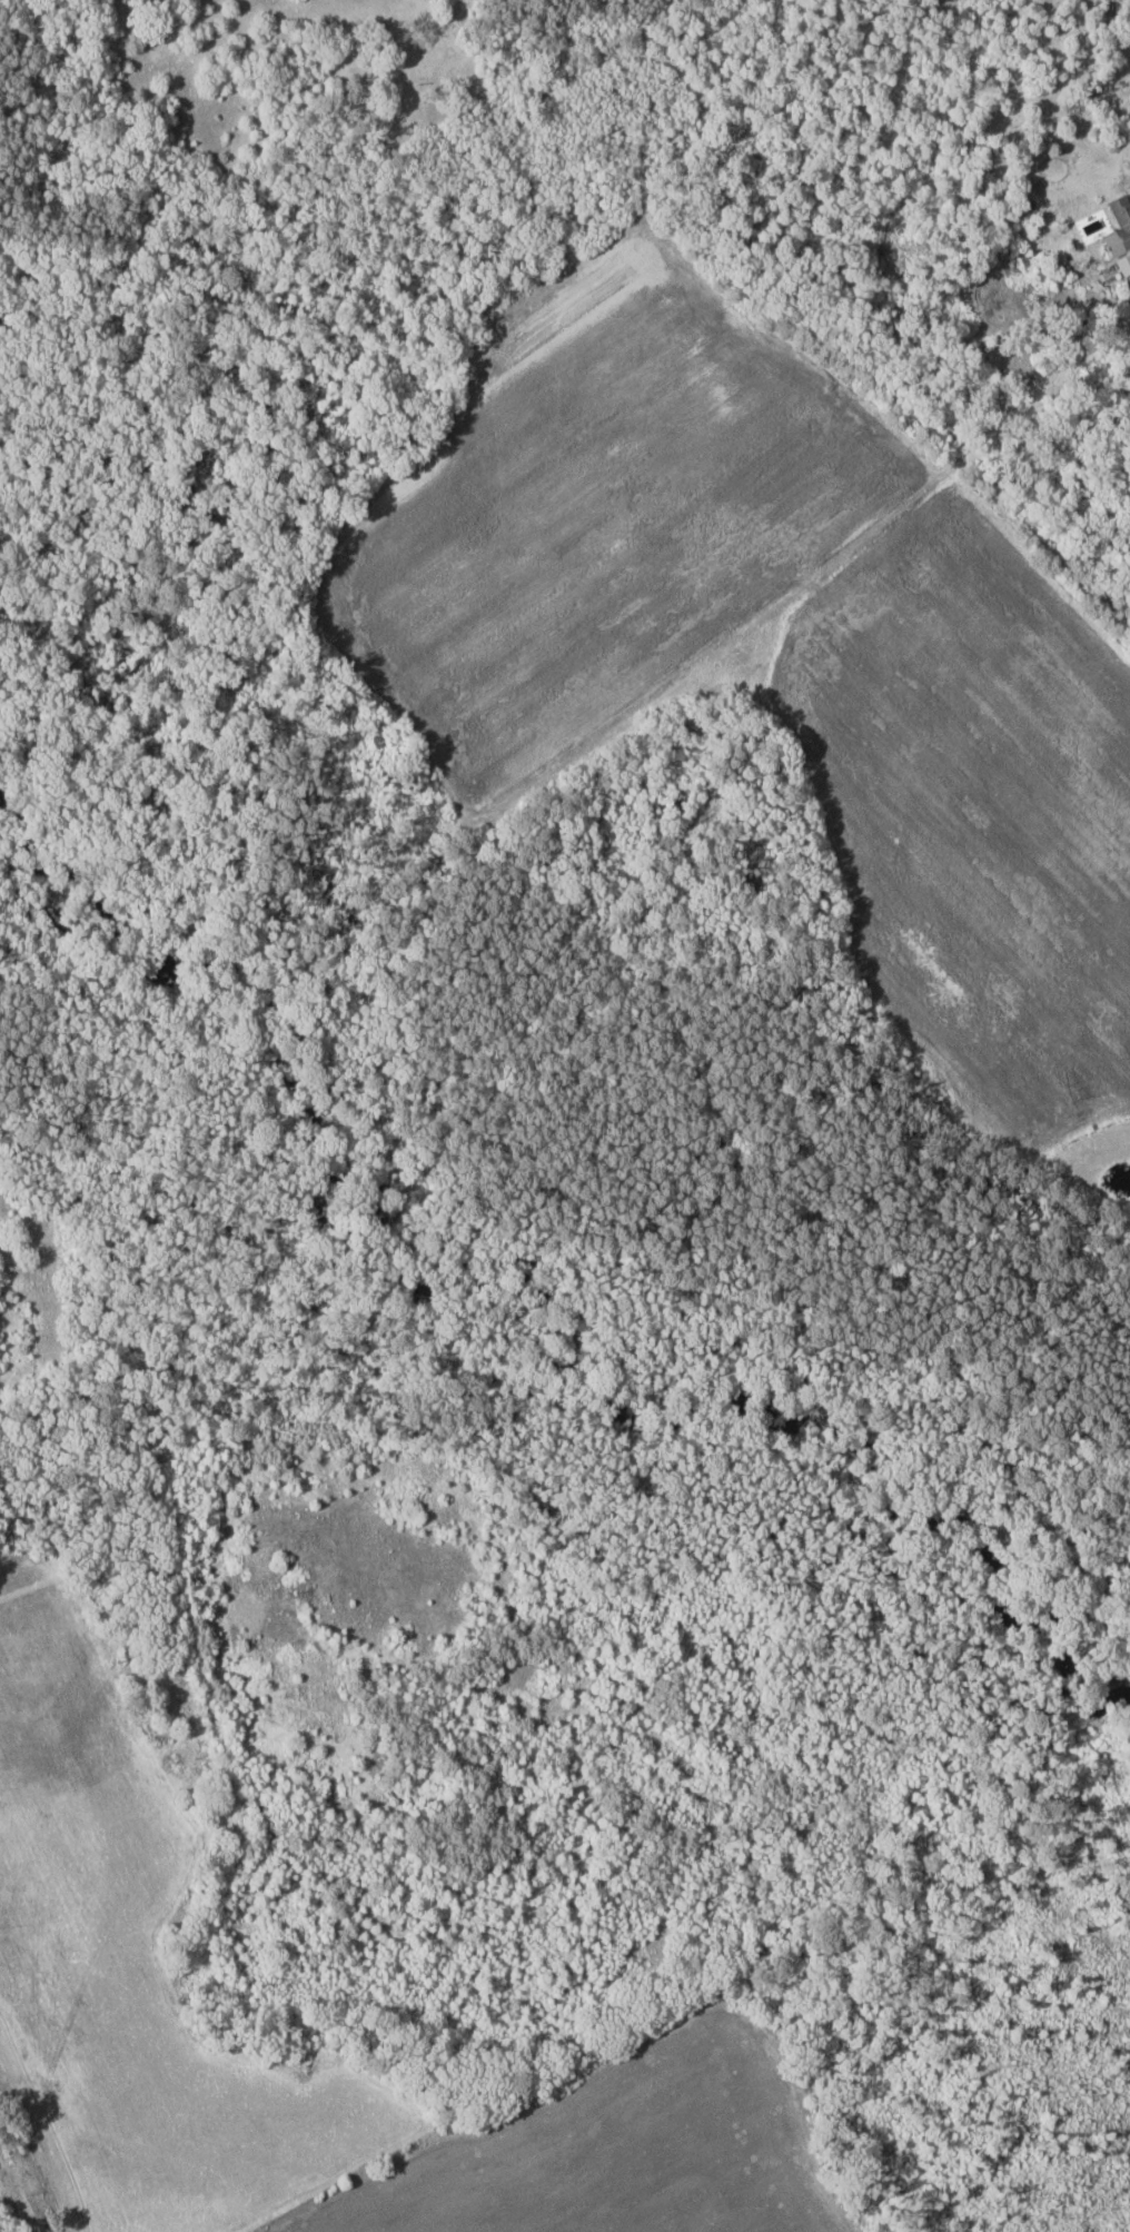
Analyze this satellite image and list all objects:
building: (373, 70)
building: (1122, 216)
building: (1126, 264)

